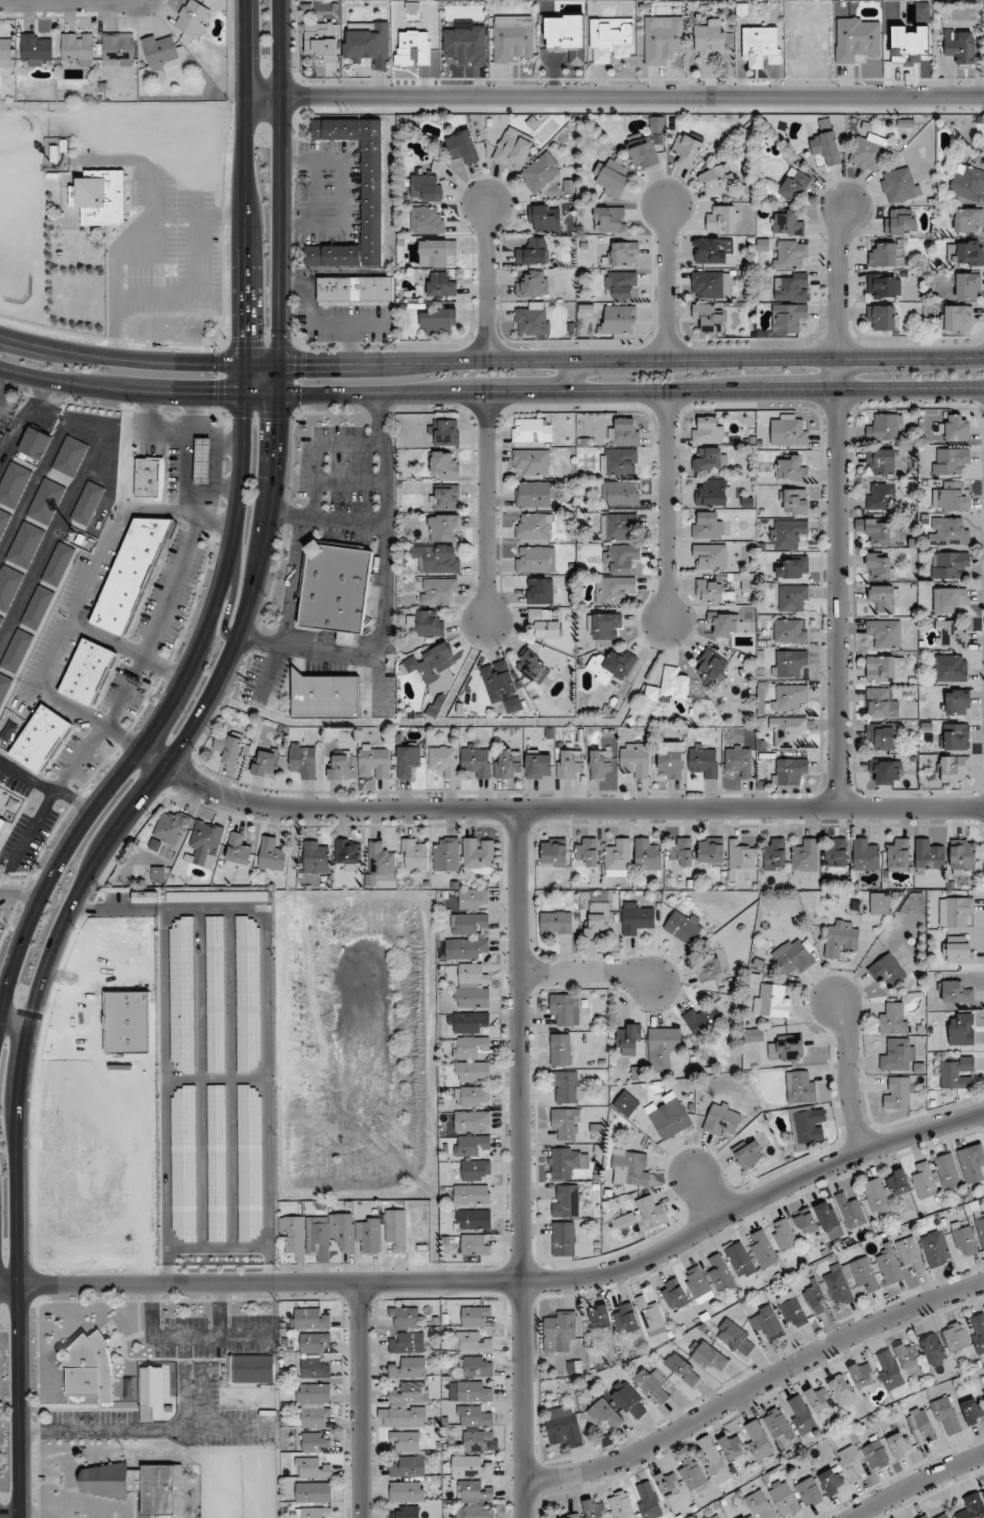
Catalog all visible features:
road: (58, 0)
building: (193, 19)
building: (566, 37)
building: (512, 38)
building: (709, 38)
building: (857, 38)
building: (610, 39)
building: (662, 39)
building: (322, 41)
building: (367, 43)
building: (761, 46)
building: (960, 47)
building: (37, 49)
building: (77, 49)
building: (117, 49)
building: (5, 50)
building: (160, 51)
road: (615, 96)
building: (657, 124)
building: (826, 144)
building: (462, 146)
building: (513, 147)
building: (686, 150)
building: (643, 152)
building: (869, 152)
road: (135, 160)
building: (541, 172)
building: (611, 178)
building: (717, 179)
building: (968, 184)
building: (794, 185)
building: (900, 185)
building: (426, 188)
building: (372, 192)
building: (100, 197)
building: (544, 218)
building: (610, 219)
building: (722, 219)
building: (426, 221)
building: (969, 221)
building: (900, 222)
building: (787, 223)
road: (131, 238)
building: (712, 251)
building: (436, 252)
building: (532, 252)
building: (965, 253)
building: (624, 254)
building: (886, 254)
building: (790, 255)
road: (485, 281)
road: (666, 282)
road: (196, 284)
building: (533, 284)
building: (621, 284)
building: (440, 285)
building: (710, 285)
building: (883, 285)
building: (966, 286)
building: (791, 287)
building: (355, 289)
building: (789, 317)
building: (709, 318)
building: (882, 318)
building: (956, 318)
building: (437, 320)
building: (532, 321)
building: (618, 321)
traffic signals: (246, 337)
road: (490, 360)
traffic signals: (302, 362)
road: (576, 376)
road: (4, 382)
road: (490, 392)
traffic signals: (217, 394)
road: (186, 417)
traffic signals: (279, 421)
building: (885, 428)
building: (957, 428)
building: (532, 430)
building: (707, 430)
building: (788, 431)
building: (446, 432)
building: (625, 432)
road: (172, 438)
building: (35, 443)
road: (316, 450)
building: (70, 456)
building: (710, 460)
building: (202, 461)
building: (618, 461)
building: (949, 461)
building: (532, 462)
building: (881, 462)
building: (444, 466)
building: (791, 468)
road: (185, 476)
building: (149, 477)
road: (215, 480)
road: (351, 482)
building: (13, 484)
road: (227, 488)
building: (713, 493)
building: (533, 494)
building: (620, 494)
building: (444, 497)
building: (881, 497)
building: (953, 497)
building: (46, 501)
building: (794, 501)
building: (87, 503)
road: (836, 505)
road: (667, 506)
road: (487, 507)
road: (327, 519)
building: (3, 522)
building: (707, 525)
building: (534, 527)
building: (619, 527)
building: (443, 528)
building: (880, 531)
building: (948, 531)
road: (232, 534)
building: (787, 534)
building: (25, 545)
road: (385, 553)
building: (709, 557)
building: (437, 558)
building: (621, 558)
road: (97, 560)
building: (535, 561)
building: (58, 564)
building: (949, 564)
building: (878, 565)
building: (794, 568)
building: (132, 575)
building: (747, 583)
building: (9, 586)
building: (336, 589)
building: (614, 590)
building: (437, 591)
building: (539, 592)
building: (713, 592)
road: (229, 596)
building: (793, 598)
building: (883, 598)
building: (948, 599)
building: (37, 608)
road: (289, 610)
building: (1, 619)
building: (544, 623)
building: (427, 624)
building: (725, 624)
building: (604, 627)
building: (790, 631)
building: (885, 633)
building: (950, 634)
road: (125, 649)
road: (306, 650)
building: (16, 651)
building: (431, 663)
building: (788, 663)
building: (532, 666)
building: (611, 666)
building: (885, 668)
building: (951, 668)
building: (87, 672)
building: (498, 681)
building: (670, 687)
building: (325, 696)
building: (788, 697)
road: (119, 698)
building: (957, 702)
building: (881, 704)
building: (436, 706)
road: (88, 716)
building: (787, 731)
building: (883, 736)
building: (955, 737)
building: (41, 739)
building: (228, 747)
building: (407, 759)
building: (303, 760)
building: (635, 760)
building: (669, 760)
building: (739, 760)
building: (444, 761)
building: (476, 761)
building: (704, 761)
building: (374, 762)
building: (507, 764)
building: (570, 764)
building: (601, 764)
building: (538, 765)
building: (341, 766)
road: (168, 767)
building: (955, 770)
building: (789, 772)
building: (886, 772)
road: (44, 786)
building: (3, 807)
road: (554, 808)
building: (171, 827)
building: (205, 842)
building: (238, 849)
building: (347, 851)
building: (554, 851)
building: (681, 851)
building: (586, 852)
building: (710, 852)
building: (836, 852)
building: (272, 854)
building: (414, 854)
building: (446, 854)
building: (774, 854)
building: (898, 854)
building: (647, 855)
building: (865, 855)
building: (929, 855)
building: (963, 855)
building: (316, 856)
building: (479, 856)
building: (741, 856)
building: (805, 856)
building: (618, 858)
building: (379, 862)
building: (157, 874)
road: (18, 896)
building: (473, 899)
building: (880, 903)
building: (914, 903)
building: (955, 911)
building: (597, 914)
building: (637, 918)
building: (467, 923)
building: (555, 925)
building: (683, 926)
building: (841, 939)
building: (464, 948)
building: (957, 951)
building: (793, 957)
building: (710, 970)
road: (587, 971)
building: (887, 971)
building: (472, 986)
building: (956, 993)
building: (771, 1001)
building: (565, 1009)
building: (699, 1021)
building: (893, 1021)
building: (467, 1022)
road: (14, 1024)
building: (961, 1029)
building: (628, 1040)
building: (469, 1046)
building: (662, 1047)
building: (787, 1049)
building: (560, 1050)
building: (898, 1056)
building: (472, 1072)
building: (956, 1072)
road: (847, 1074)
building: (566, 1087)
building: (800, 1087)
building: (897, 1092)
building: (472, 1096)
building: (626, 1104)
building: (668, 1116)
building: (722, 1120)
building: (472, 1121)
building: (566, 1123)
building: (807, 1127)
building: (596, 1131)
building: (472, 1146)
building: (748, 1154)
road: (521, 1162)
building: (565, 1162)
building: (972, 1164)
building: (630, 1168)
building: (476, 1170)
building: (946, 1172)
building: (924, 1182)
building: (899, 1183)
road: (704, 1193)
building: (471, 1195)
building: (876, 1197)
building: (566, 1201)
building: (850, 1212)
building: (650, 1213)
building: (473, 1219)
building: (828, 1220)
building: (807, 1222)
building: (980, 1227)
building: (396, 1228)
building: (343, 1233)
building: (784, 1234)
building: (293, 1236)
building: (563, 1238)
building: (964, 1241)
building: (475, 1244)
building: (936, 1249)
building: (763, 1250)
building: (910, 1253)
building: (740, 1260)
building: (889, 1266)
building: (720, 1272)
road: (508, 1281)
building: (837, 1281)
building: (698, 1285)
building: (674, 1294)
building: (816, 1299)
road: (219, 1310)
building: (793, 1311)
building: (405, 1316)
building: (474, 1316)
building: (651, 1316)
building: (600, 1317)
building: (625, 1318)
building: (309, 1319)
building: (767, 1323)
building: (559, 1332)
building: (977, 1333)
road: (188, 1337)
building: (955, 1337)
building: (735, 1338)
building: (313, 1343)
building: (408, 1343)
building: (472, 1343)
building: (933, 1349)
building: (908, 1355)
building: (709, 1357)
building: (476, 1367)
building: (90, 1368)
building: (315, 1368)
building: (409, 1368)
building: (252, 1369)
building: (683, 1369)
building: (889, 1369)
building: (862, 1374)
building: (655, 1385)
road: (755, 1386)
building: (842, 1390)
building: (469, 1392)
building: (410, 1393)
building: (818, 1398)
road: (361, 1400)
building: (628, 1400)
building: (314, 1405)
building: (973, 1409)
building: (605, 1413)
building: (801, 1415)
building: (407, 1417)
building: (473, 1417)
building: (946, 1417)
building: (777, 1422)
building: (921, 1425)
road: (228, 1426)
building: (563, 1426)
road: (147, 1431)
building: (758, 1439)
building: (406, 1441)
building: (479, 1441)
building: (315, 1442)
building: (900, 1444)
building: (732, 1446)
building: (876, 1455)
building: (715, 1464)
building: (851, 1464)
building: (470, 1466)
building: (409, 1467)
building: (311, 1468)
building: (691, 1475)
building: (831, 1482)
building: (667, 1483)
road: (915, 1483)
building: (137, 1486)
building: (406, 1491)
building: (473, 1491)
building: (809, 1492)
building: (313, 1493)
building: (784, 1498)
building: (647, 1500)
building: (621, 1505)
building: (760, 1505)
building: (971, 1507)
building: (594, 1508)
building: (404, 1512)
building: (475, 1512)
building: (314, 1513)
building: (570, 1516)
building: (930, 1516)
building: (943, 1516)
road: (10, 1517)
road: (26, 1517)
building: (717, 1517)
building: (745, 1517)

